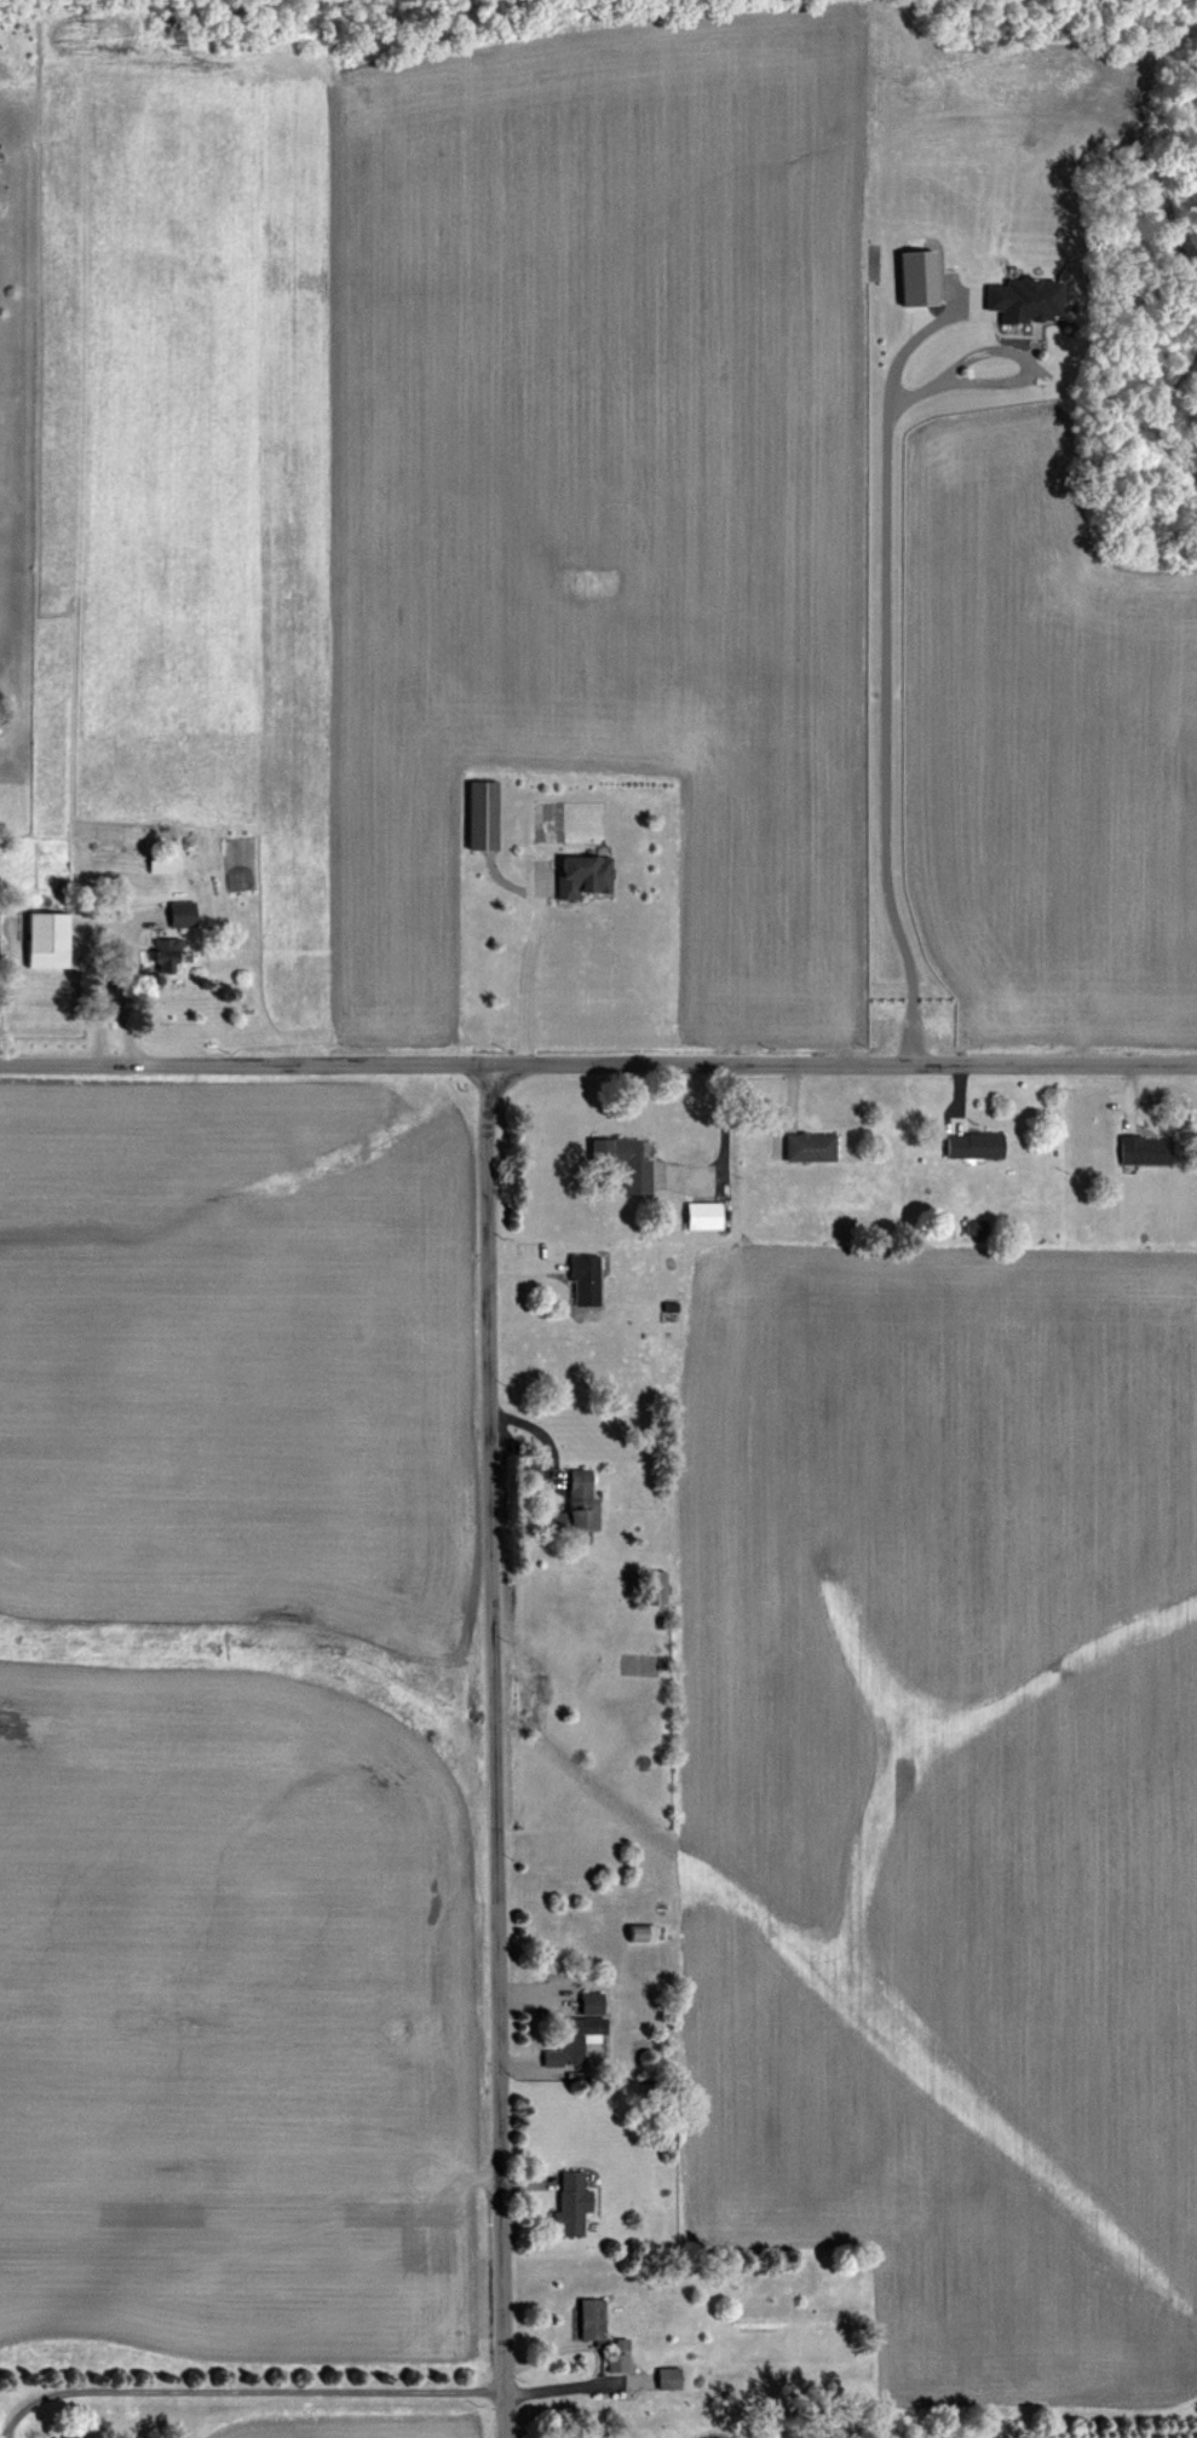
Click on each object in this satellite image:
crop: (783, 495)
road: (885, 721)
building: (477, 814)
building: (155, 863)
building: (577, 875)
building: (174, 923)
road: (526, 940)
building: (40, 941)
road: (114, 970)
building: (163, 972)
road: (92, 982)
road: (598, 1062)
building: (969, 1145)
building: (806, 1147)
building: (1141, 1151)
building: (620, 1163)
building: (695, 1216)
building: (579, 1274)
building: (569, 1504)
building: (650, 1587)
road: (496, 1750)
crop: (230, 1753)
crop: (953, 1799)
building: (572, 2031)
building: (568, 2204)
building: (587, 2318)
road: (244, 2394)
building: (58, 2433)

